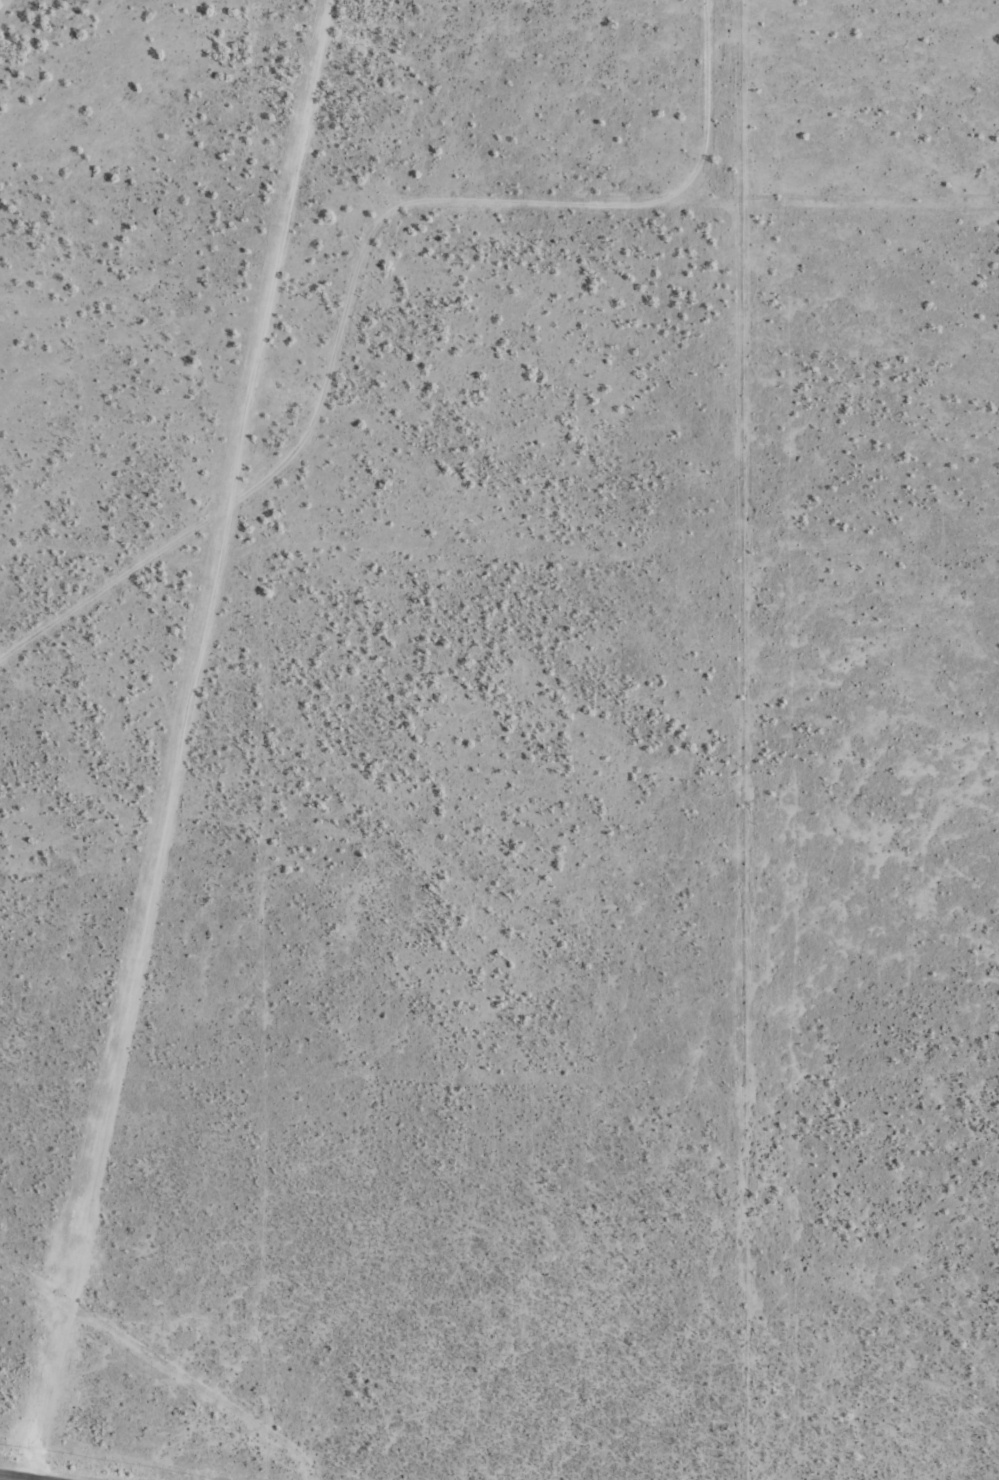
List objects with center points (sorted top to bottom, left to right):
road: (368, 292)
road: (48, 1472)

